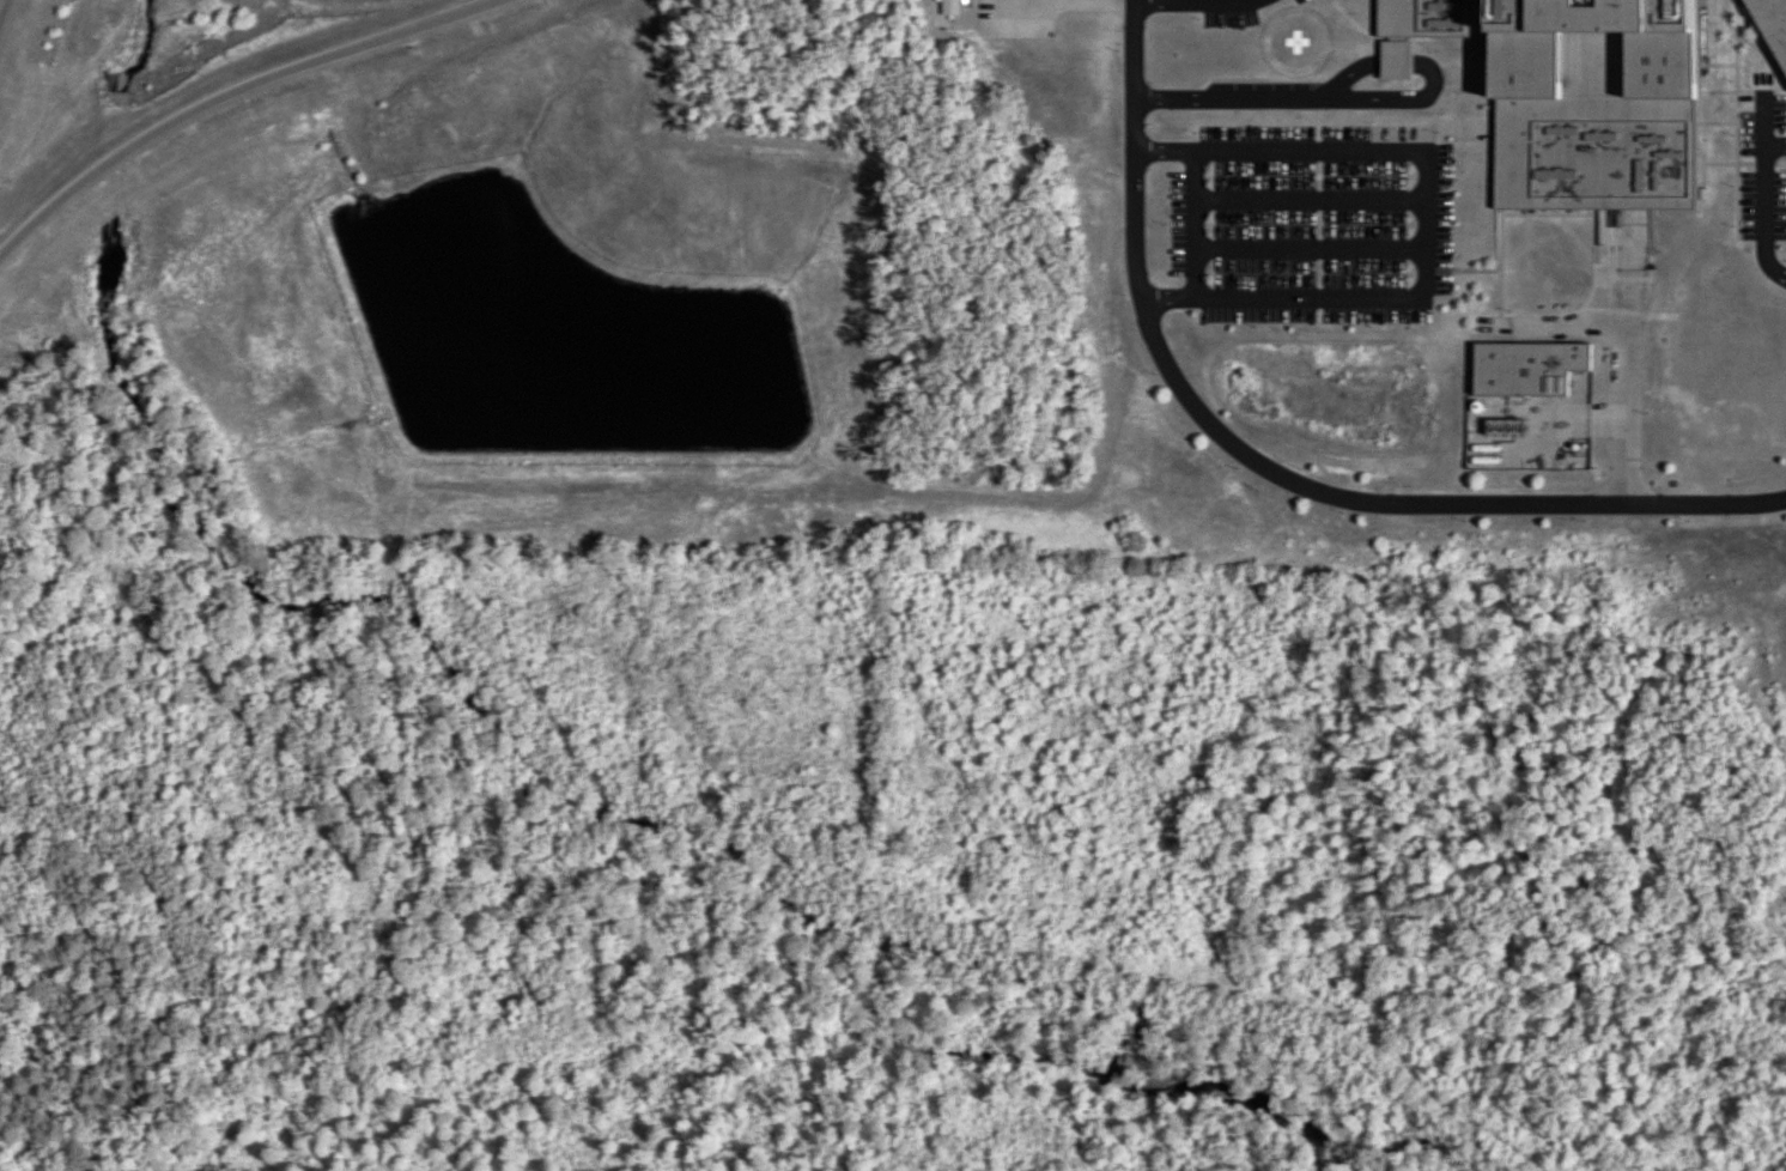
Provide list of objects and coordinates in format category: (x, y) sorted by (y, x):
road: (4, 13)
helipad: (1302, 41)
road: (235, 96)
building: (1586, 278)
road: (1270, 467)

